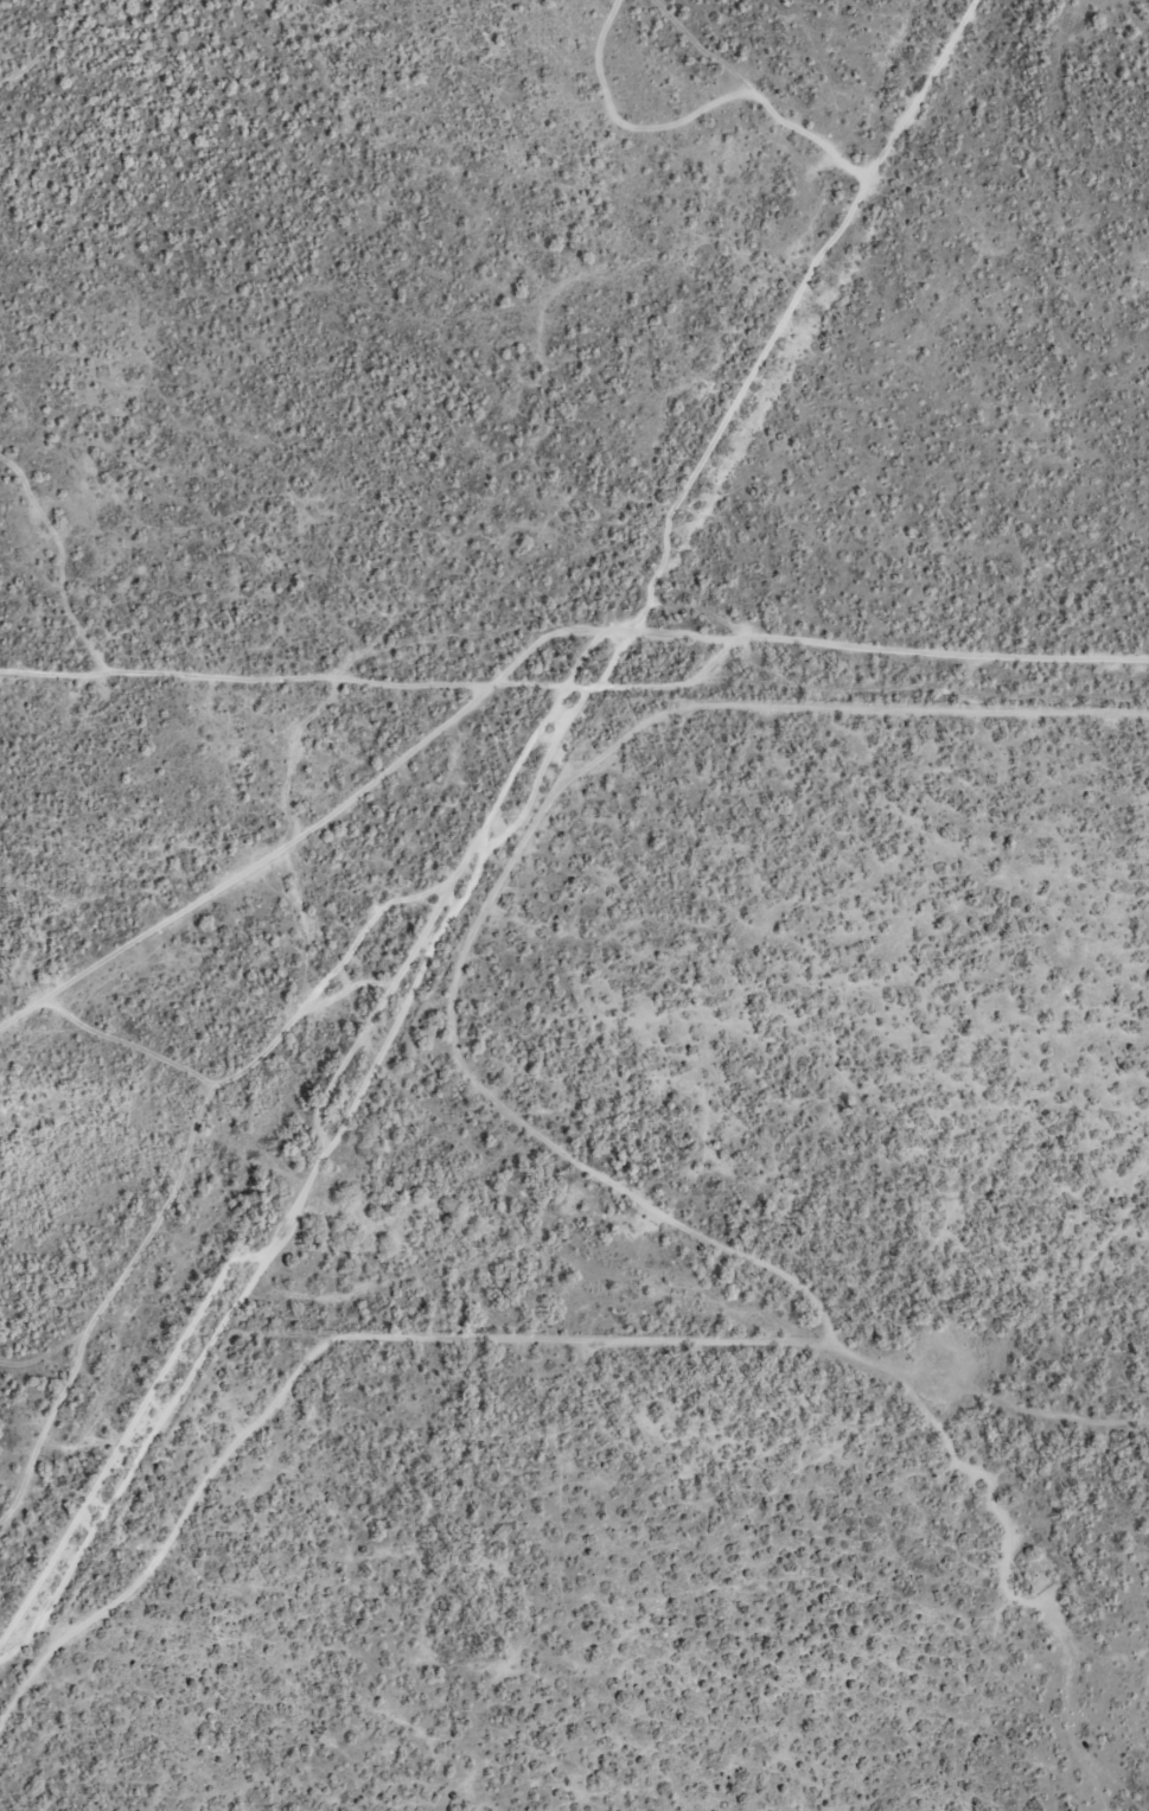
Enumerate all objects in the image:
road: (50, 42)
road: (751, 94)
road: (783, 310)
road: (49, 675)
road: (518, 685)
railway: (485, 818)
road: (506, 862)
road: (314, 1347)

